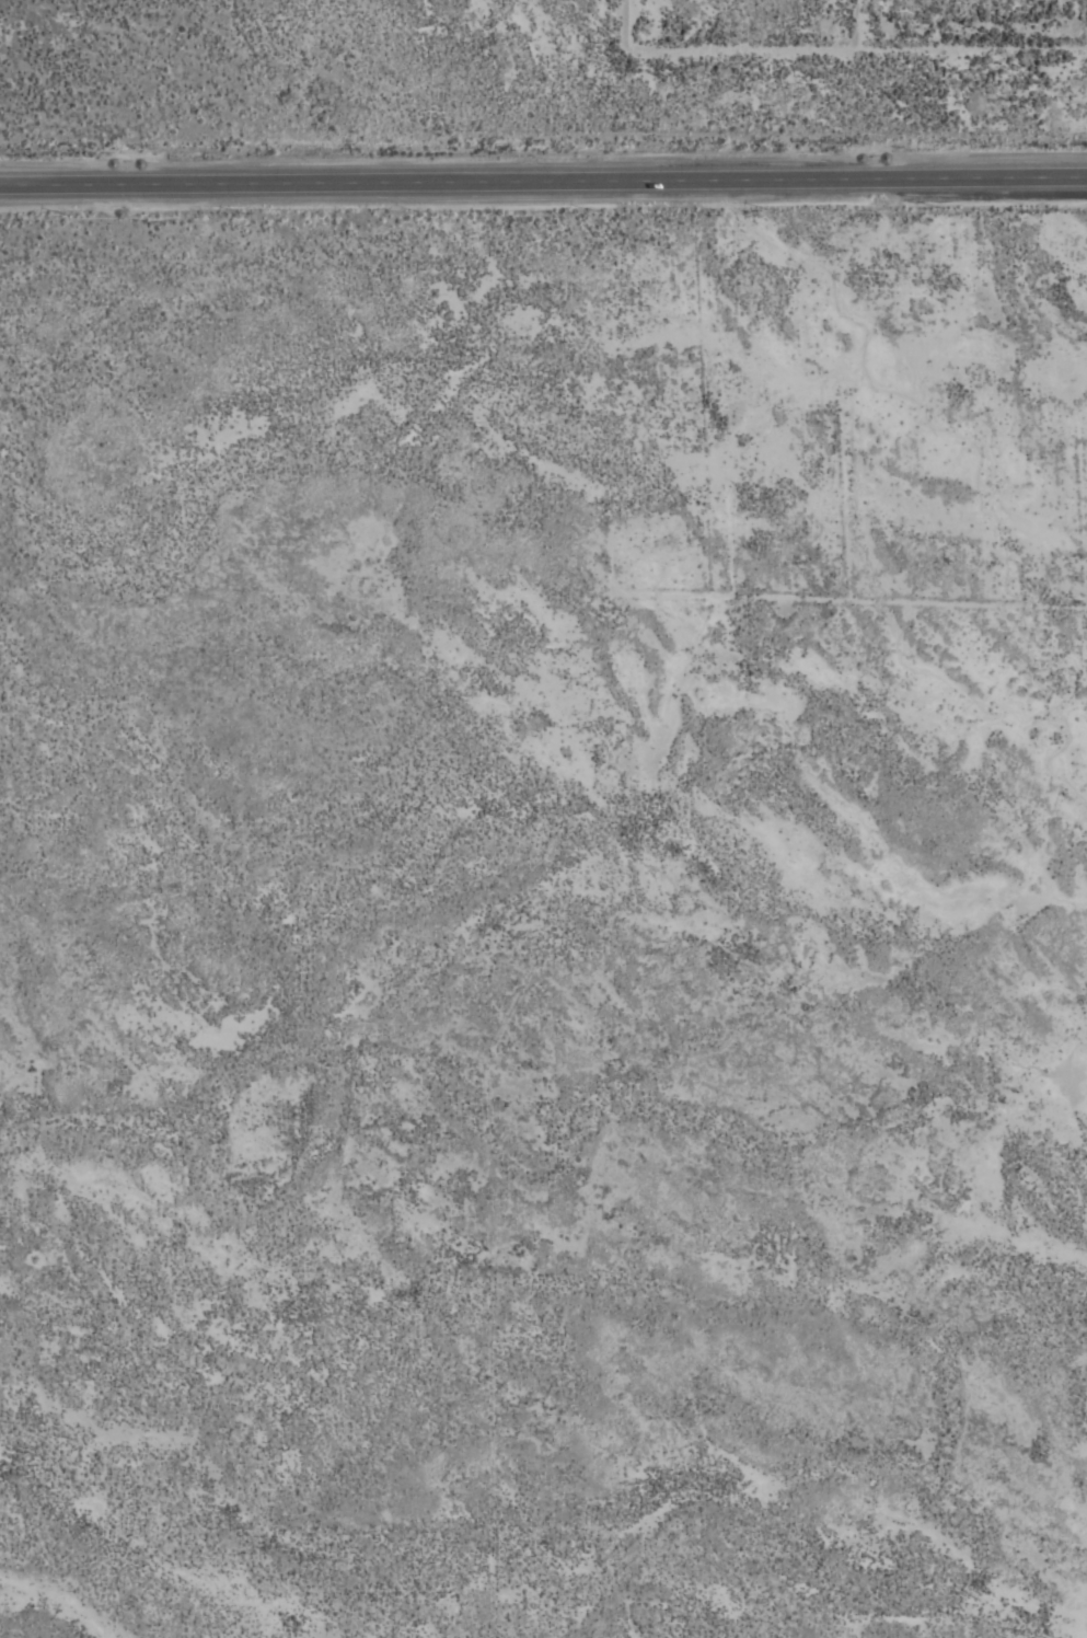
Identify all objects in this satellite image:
road: (543, 188)

